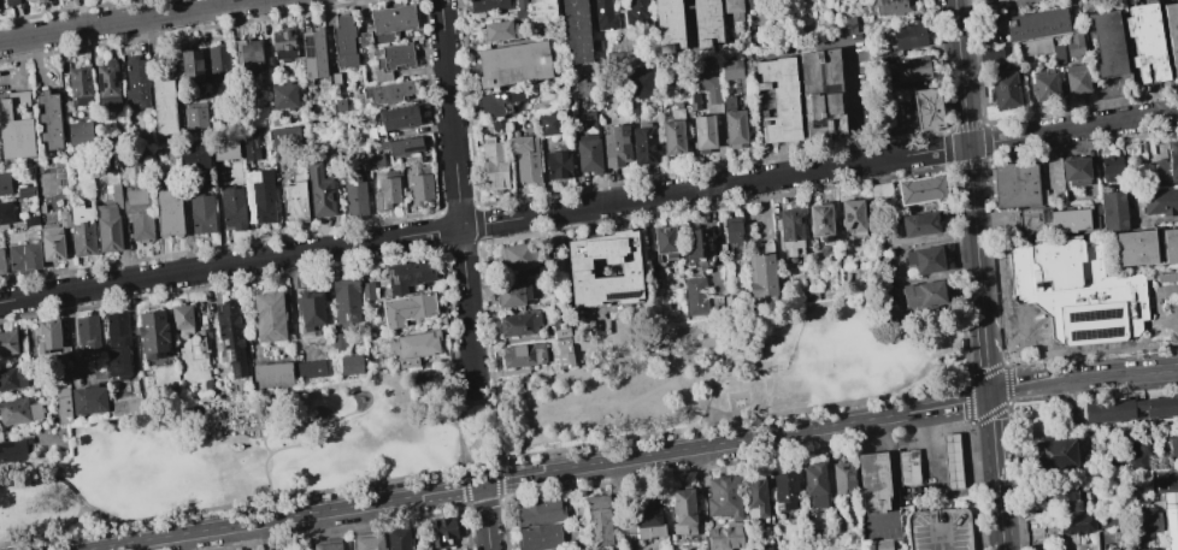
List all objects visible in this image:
building: (40, 0)
building: (996, 0)
building: (8, 2)
building: (520, 4)
building: (753, 4)
building: (489, 5)
building: (894, 6)
building: (635, 11)
building: (541, 12)
building: (731, 12)
building: (603, 14)
building: (391, 17)
road: (128, 19)
road: (687, 22)
building: (705, 22)
building: (667, 24)
building: (848, 24)
building: (1037, 24)
building: (576, 29)
building: (497, 30)
building: (1172, 34)
building: (905, 35)
building: (364, 39)
building: (343, 41)
building: (1145, 42)
building: (1107, 43)
building: (282, 45)
building: (1076, 46)
building: (1035, 47)
building: (313, 53)
building: (247, 54)
building: (1059, 54)
building: (218, 60)
building: (390, 60)
building: (189, 63)
building: (512, 63)
building: (731, 69)
building: (911, 69)
building: (705, 77)
rooftop solar panel: (114, 79)
building: (136, 79)
building: (337, 79)
building: (1077, 79)
building: (640, 82)
rooftop solar panel: (99, 83)
building: (107, 84)
building: (79, 85)
building: (1044, 85)
building: (1006, 88)
building: (388, 91)
building: (820, 93)
building: (282, 95)
building: (778, 99)
road: (858, 101)
building: (500, 102)
building: (163, 107)
building: (926, 108)
building: (195, 116)
building: (397, 117)
building: (49, 119)
building: (588, 122)
building: (732, 123)
building: (497, 124)
building: (548, 124)
building: (14, 126)
building: (703, 132)
building: (79, 134)
building: (672, 135)
building: (284, 136)
building: (644, 143)
building: (400, 144)
building: (615, 144)
building: (249, 147)
building: (224, 148)
road: (968, 149)
building: (1149, 150)
building: (588, 154)
building: (194, 155)
building: (525, 156)
building: (361, 160)
building: (375, 160)
building: (494, 164)
building: (558, 165)
building: (1168, 166)
building: (1112, 168)
building: (1076, 171)
building: (4, 184)
building: (1018, 185)
building: (420, 188)
building: (920, 189)
building: (319, 190)
building: (878, 190)
building: (24, 191)
road: (458, 191)
building: (353, 193)
building: (385, 193)
building: (263, 197)
building: (294, 199)
building: (1160, 202)
road: (589, 206)
building: (231, 207)
building: (1114, 211)
building: (5, 212)
building: (167, 212)
building: (201, 213)
building: (137, 214)
building: (852, 215)
building: (63, 219)
building: (819, 219)
building: (29, 220)
building: (108, 220)
building: (1054, 220)
building: (919, 224)
building: (789, 230)
building: (81, 231)
building: (732, 232)
building: (665, 241)
building: (51, 242)
building: (696, 244)
building: (1170, 244)
building: (1136, 248)
building: (520, 255)
building: (23, 258)
building: (923, 259)
building: (1, 262)
building: (578, 270)
building: (407, 274)
building: (761, 274)
rooftop solar panel: (391, 278)
building: (366, 290)
building: (1076, 291)
building: (512, 294)
building: (923, 294)
rooftop solar panel: (620, 295)
building: (695, 295)
building: (346, 300)
building: (728, 301)
road: (1158, 302)
building: (715, 303)
parking lot: (1165, 303)
building: (311, 307)
building: (406, 308)
building: (269, 317)
rooftop solar panel: (159, 318)
building: (181, 318)
road: (1027, 321)
building: (518, 323)
street lamp: (1013, 332)
road: (1027, 332)
building: (86, 333)
building: (152, 333)
building: (46, 336)
building: (230, 338)
street lamp: (1021, 339)
building: (338, 341)
building: (7, 343)
building: (116, 343)
building: (561, 343)
road: (1001, 344)
building: (413, 347)
road: (985, 347)
rooftop solar panel: (236, 355)
building: (523, 355)
rooftop solar panel: (160, 356)
building: (351, 365)
building: (312, 368)
building: (271, 373)
road: (1083, 373)
building: (12, 377)
building: (429, 384)
road: (475, 385)
traffic signals: (990, 392)
building: (88, 400)
building: (63, 406)
rooftop solar panel: (16, 407)
building: (1130, 409)
building: (18, 410)
park: (476, 419)
road: (994, 437)
road: (267, 444)
building: (1171, 445)
road: (287, 448)
building: (12, 450)
road: (544, 451)
building: (1059, 455)
building: (1138, 460)
building: (955, 461)
road: (938, 463)
building: (912, 467)
road: (538, 473)
building: (842, 478)
road: (894, 480)
building: (873, 481)
building: (1165, 483)
road: (18, 484)
road: (69, 484)
building: (814, 484)
building: (783, 490)
building: (723, 497)
building: (1066, 497)
building: (754, 498)
building: (540, 510)
building: (682, 511)
building: (647, 515)
road: (485, 516)
road: (1001, 516)
building: (1108, 519)
building: (1172, 519)
building: (595, 520)
building: (1150, 522)
building: (1079, 525)
building: (940, 528)
parking lot: (940, 530)
building: (441, 532)
road: (48, 534)
building: (538, 537)
building: (724, 537)
building: (397, 539)
road: (941, 540)
building: (366, 542)
building: (326, 544)
building: (876, 544)
building: (760, 545)
building: (1113, 549)
building: (1142, 549)

